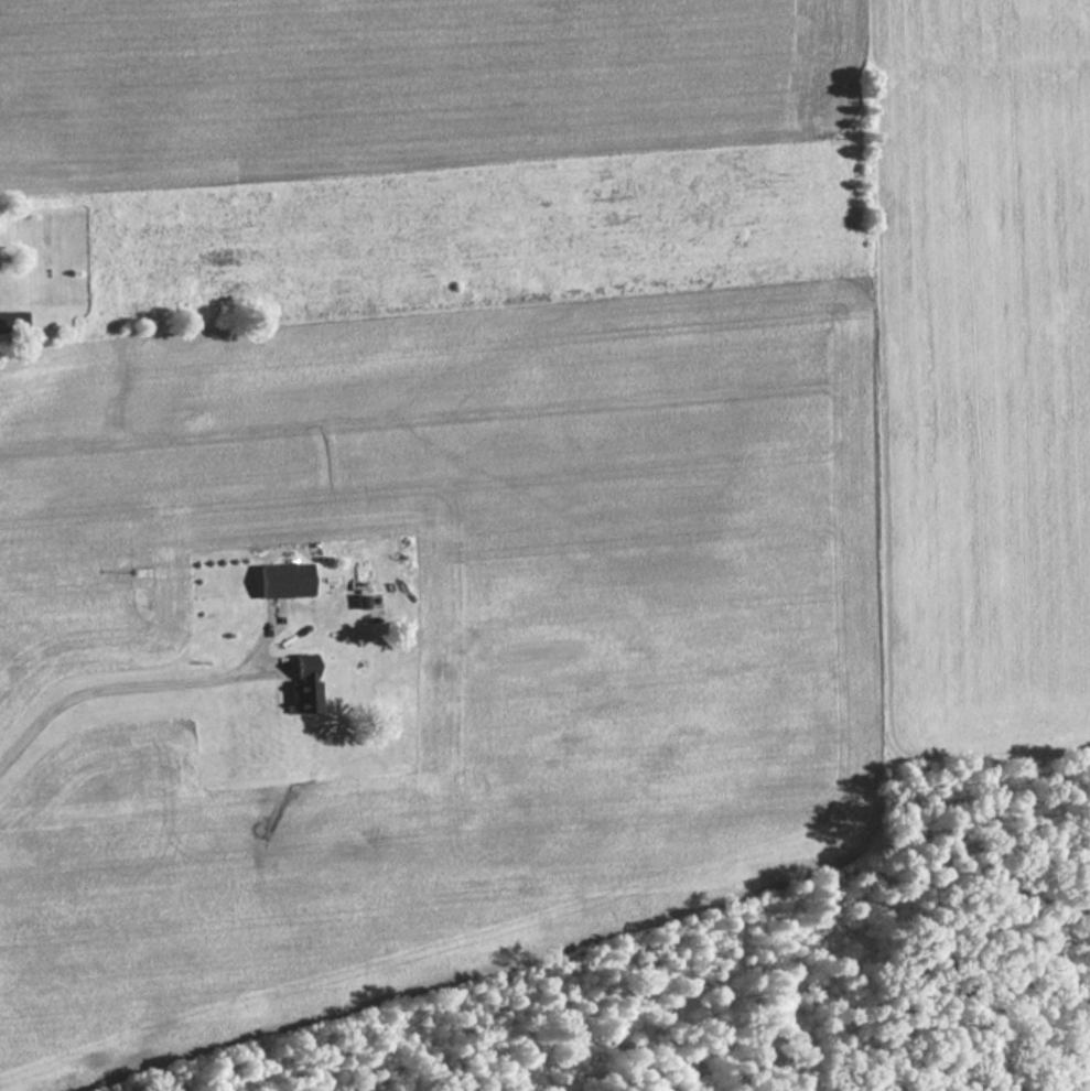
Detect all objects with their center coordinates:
building: (12, 324)
building: (284, 581)
building: (304, 684)

